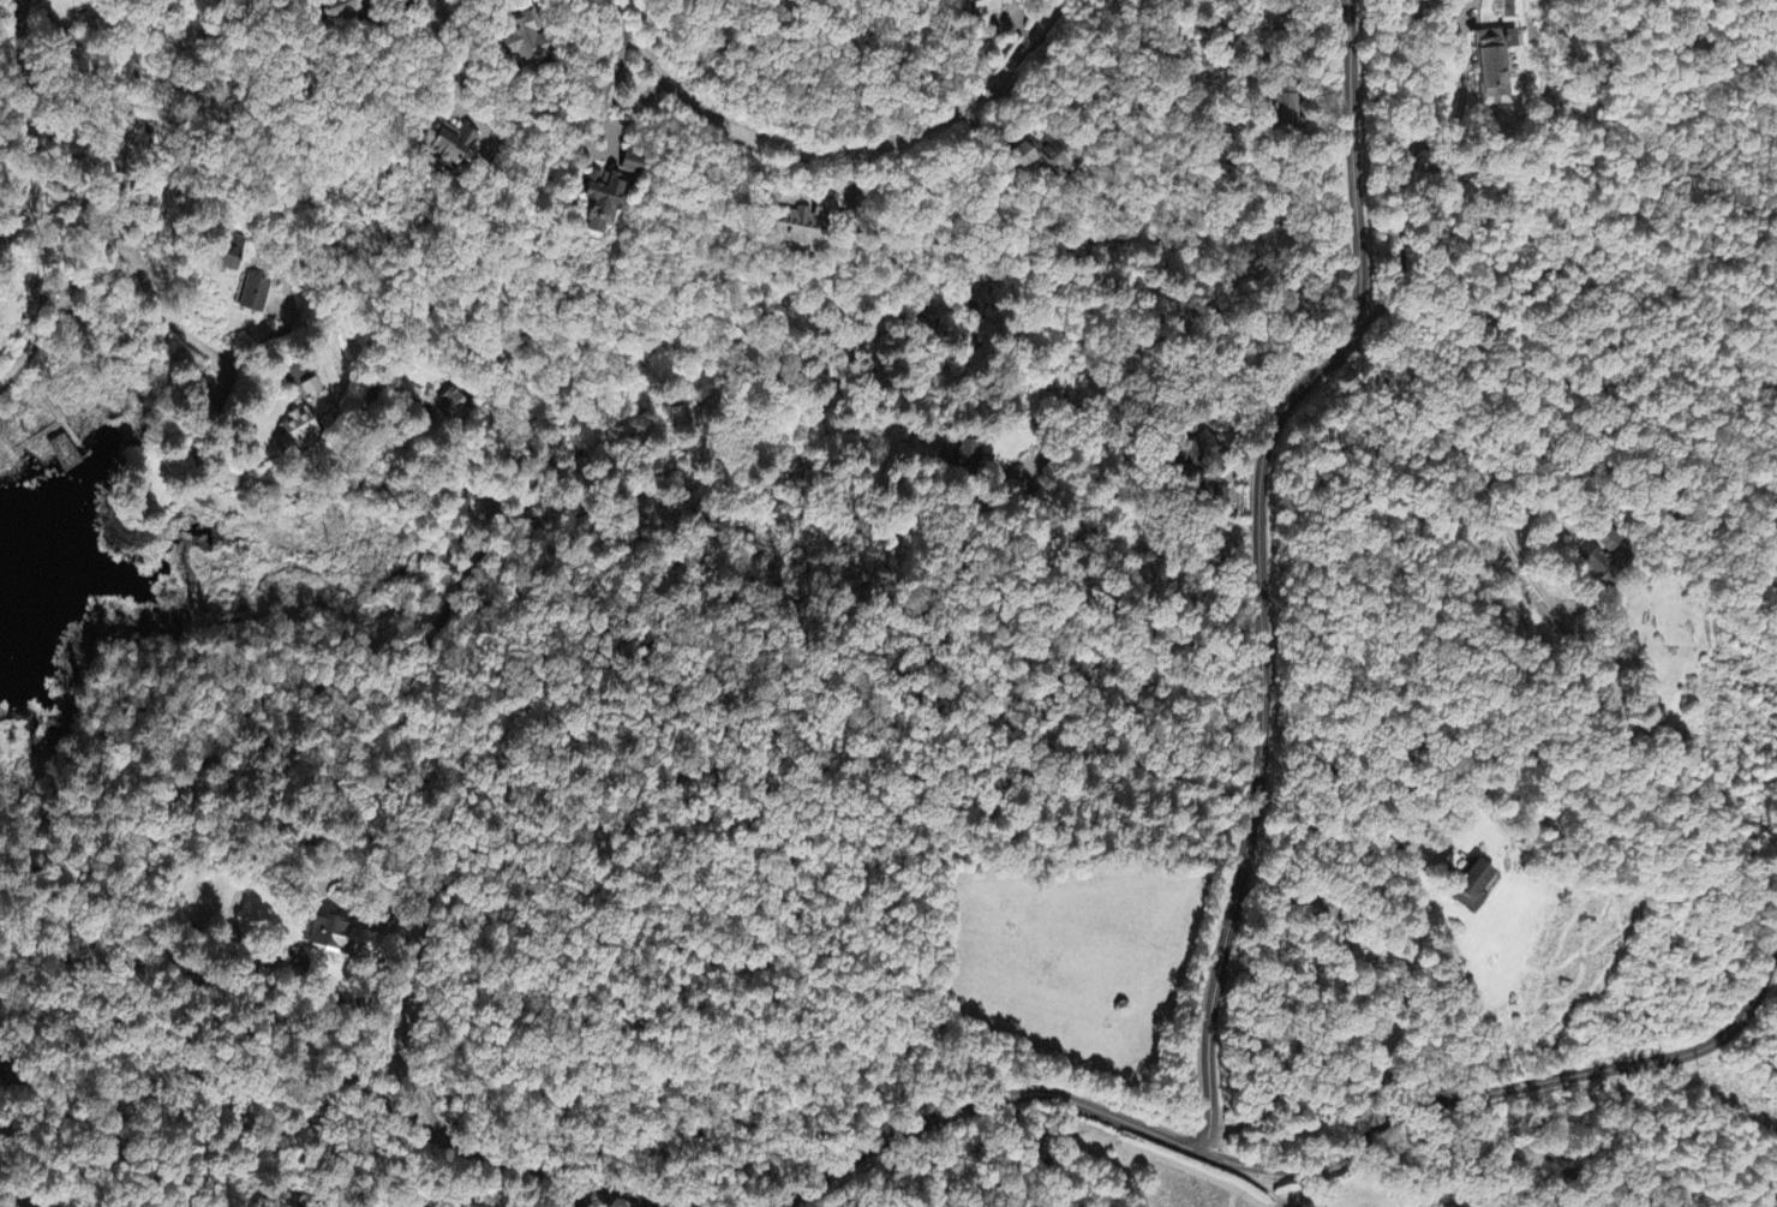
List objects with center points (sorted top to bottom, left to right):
building: (103, 0)
road: (425, 5)
building: (992, 6)
building: (527, 41)
building: (1496, 66)
building: (1286, 104)
road: (29, 129)
building: (450, 144)
road: (832, 153)
building: (1047, 155)
building: (635, 166)
building: (609, 201)
building: (803, 231)
building: (232, 256)
road: (131, 269)
building: (255, 297)
road: (71, 366)
building: (313, 390)
building: (451, 405)
building: (299, 432)
road: (37, 434)
road: (6, 447)
building: (65, 452)
building: (967, 456)
road: (466, 498)
road: (1378, 525)
building: (1610, 542)
road: (1260, 561)
building: (1596, 563)
road: (325, 579)
road: (409, 683)
road: (48, 802)
building: (1478, 889)
building: (341, 940)
road: (25, 994)
road: (77, 998)
road: (19, 1022)
road: (62, 1024)
building: (4, 1081)
road: (31, 1088)
road: (118, 1104)
road: (1304, 1170)
road: (1245, 1177)
road: (606, 1196)
road: (18, 1205)

